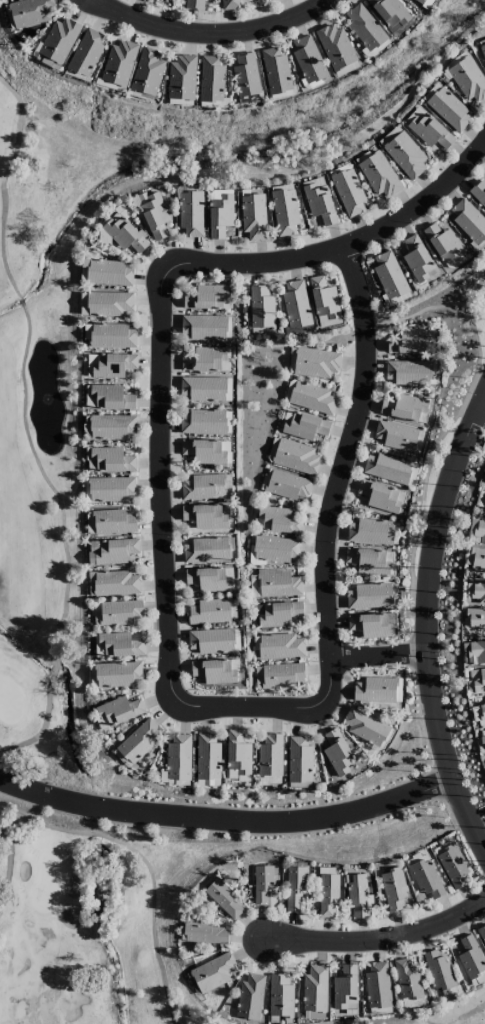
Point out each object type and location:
building: (148, 0)
building: (419, 1)
building: (425, 3)
building: (194, 4)
building: (230, 4)
building: (30, 12)
building: (391, 15)
building: (365, 28)
road: (209, 32)
building: (59, 40)
building: (482, 43)
building: (335, 47)
building: (85, 52)
building: (483, 52)
building: (308, 60)
building: (47, 62)
building: (119, 63)
building: (346, 69)
building: (276, 71)
building: (147, 72)
building: (246, 75)
building: (181, 78)
building: (211, 80)
building: (468, 80)
building: (449, 110)
building: (427, 129)
building: (388, 136)
building: (405, 155)
building: (380, 176)
building: (348, 193)
building: (478, 193)
building: (318, 201)
building: (284, 212)
building: (191, 214)
building: (155, 216)
building: (219, 216)
building: (253, 217)
building: (468, 221)
building: (124, 237)
building: (443, 243)
road: (342, 251)
building: (416, 259)
building: (106, 271)
building: (389, 276)
building: (206, 297)
building: (323, 298)
building: (109, 304)
building: (296, 304)
building: (261, 308)
building: (204, 328)
building: (301, 329)
building: (261, 331)
building: (112, 336)
building: (410, 341)
building: (206, 360)
building: (315, 363)
building: (110, 365)
building: (408, 372)
building: (203, 389)
building: (111, 398)
building: (312, 398)
park: (50, 408)
building: (404, 408)
building: (203, 422)
building: (303, 426)
building: (111, 427)
building: (395, 437)
building: (207, 451)
building: (295, 457)
building: (110, 460)
building: (387, 468)
road: (340, 477)
building: (484, 482)
building: (287, 486)
road: (164, 487)
building: (203, 487)
building: (111, 490)
building: (379, 497)
building: (481, 501)
building: (204, 517)
building: (278, 521)
building: (113, 522)
building: (480, 531)
building: (370, 532)
building: (275, 549)
building: (114, 551)
building: (206, 551)
building: (477, 558)
building: (370, 561)
building: (209, 579)
building: (113, 583)
building: (278, 585)
building: (253, 586)
building: (478, 593)
building: (369, 596)
building: (209, 612)
building: (120, 613)
building: (277, 614)
building: (475, 620)
road: (430, 623)
building: (372, 625)
building: (211, 641)
building: (120, 645)
building: (280, 647)
building: (475, 652)
road: (381, 657)
building: (215, 671)
building: (117, 674)
building: (281, 675)
building: (479, 682)
building: (377, 690)
road: (250, 705)
building: (119, 710)
building: (479, 714)
building: (364, 727)
building: (140, 740)
building: (483, 743)
building: (237, 753)
building: (337, 753)
building: (270, 756)
building: (207, 757)
building: (178, 758)
building: (299, 760)
building: (170, 780)
building: (207, 784)
road: (227, 822)
building: (452, 865)
building: (425, 875)
building: (262, 883)
building: (294, 888)
building: (394, 890)
building: (326, 895)
building: (356, 896)
building: (223, 898)
park: (87, 924)
building: (203, 933)
building: (481, 934)
road: (379, 936)
building: (472, 961)
building: (438, 971)
building: (213, 973)
building: (407, 980)
building: (376, 985)
building: (345, 987)
building: (315, 989)
building: (279, 996)
building: (250, 998)

